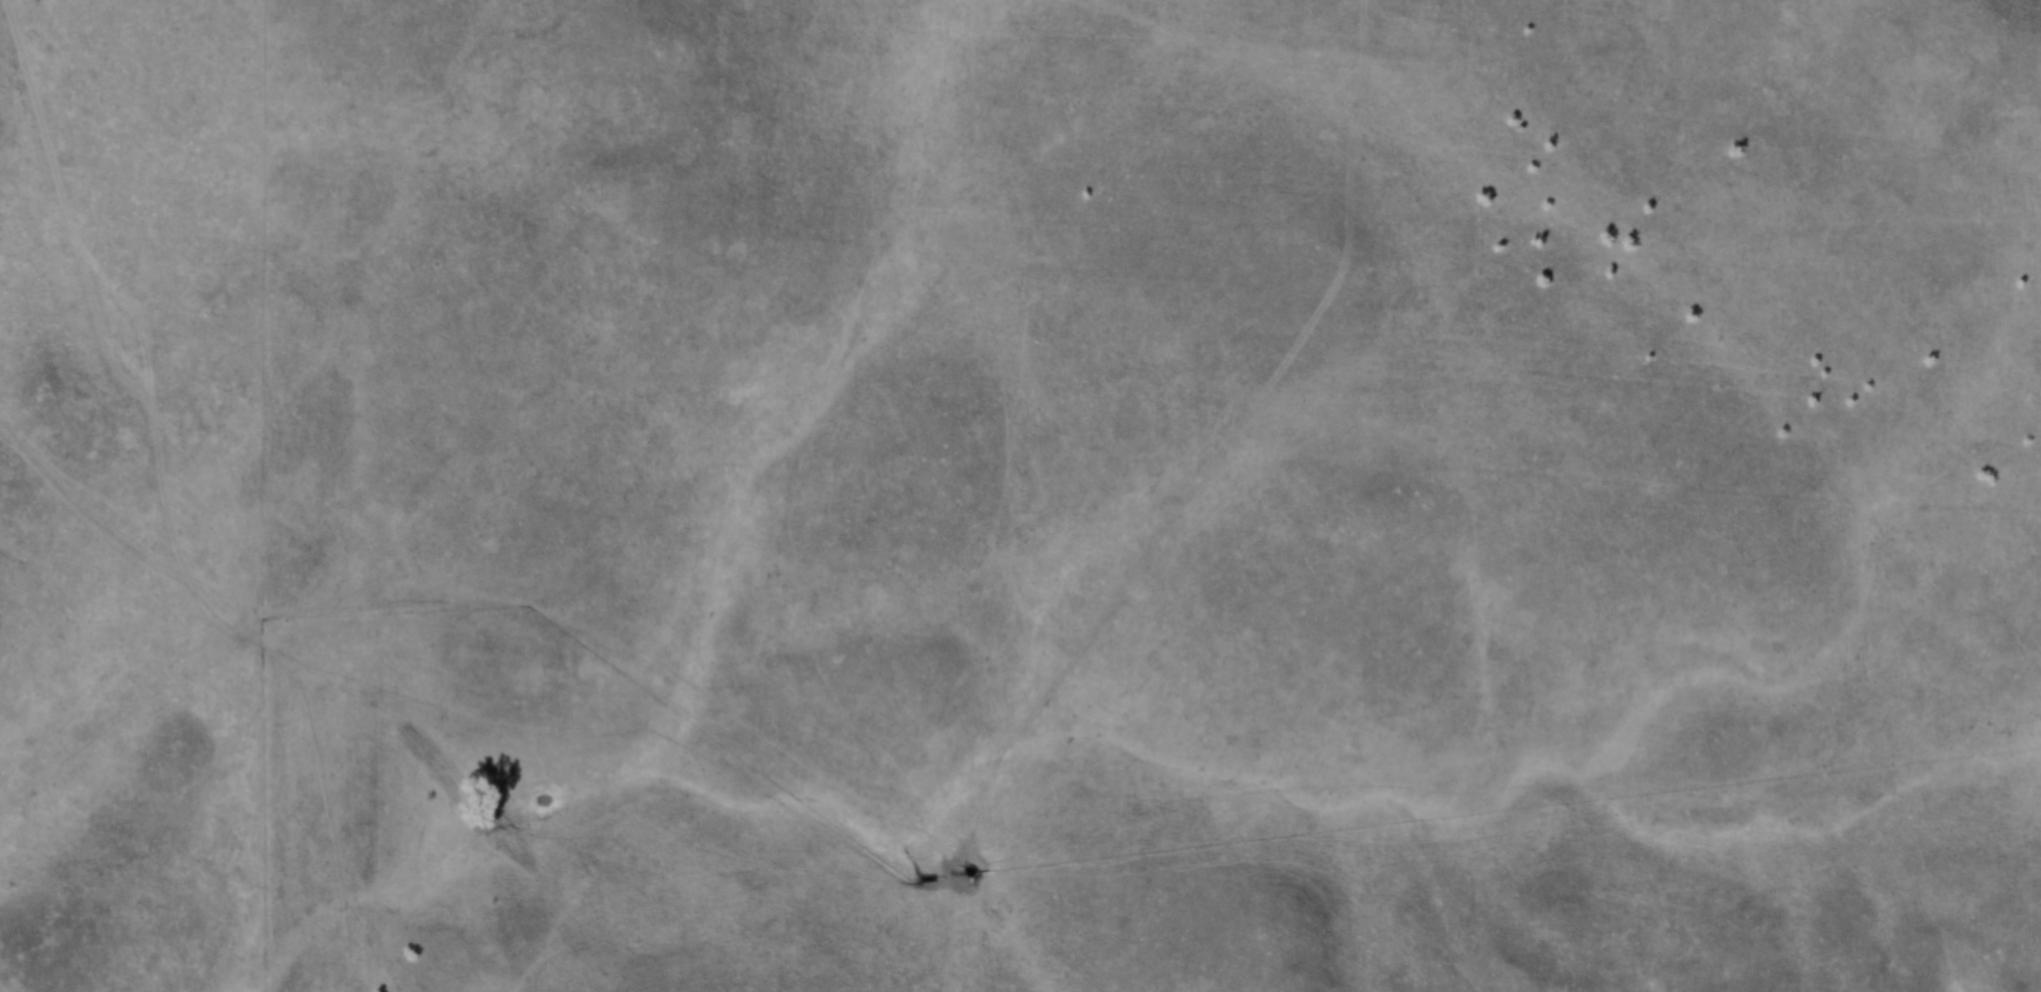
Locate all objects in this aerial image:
road: (624, 541)
road: (126, 691)

